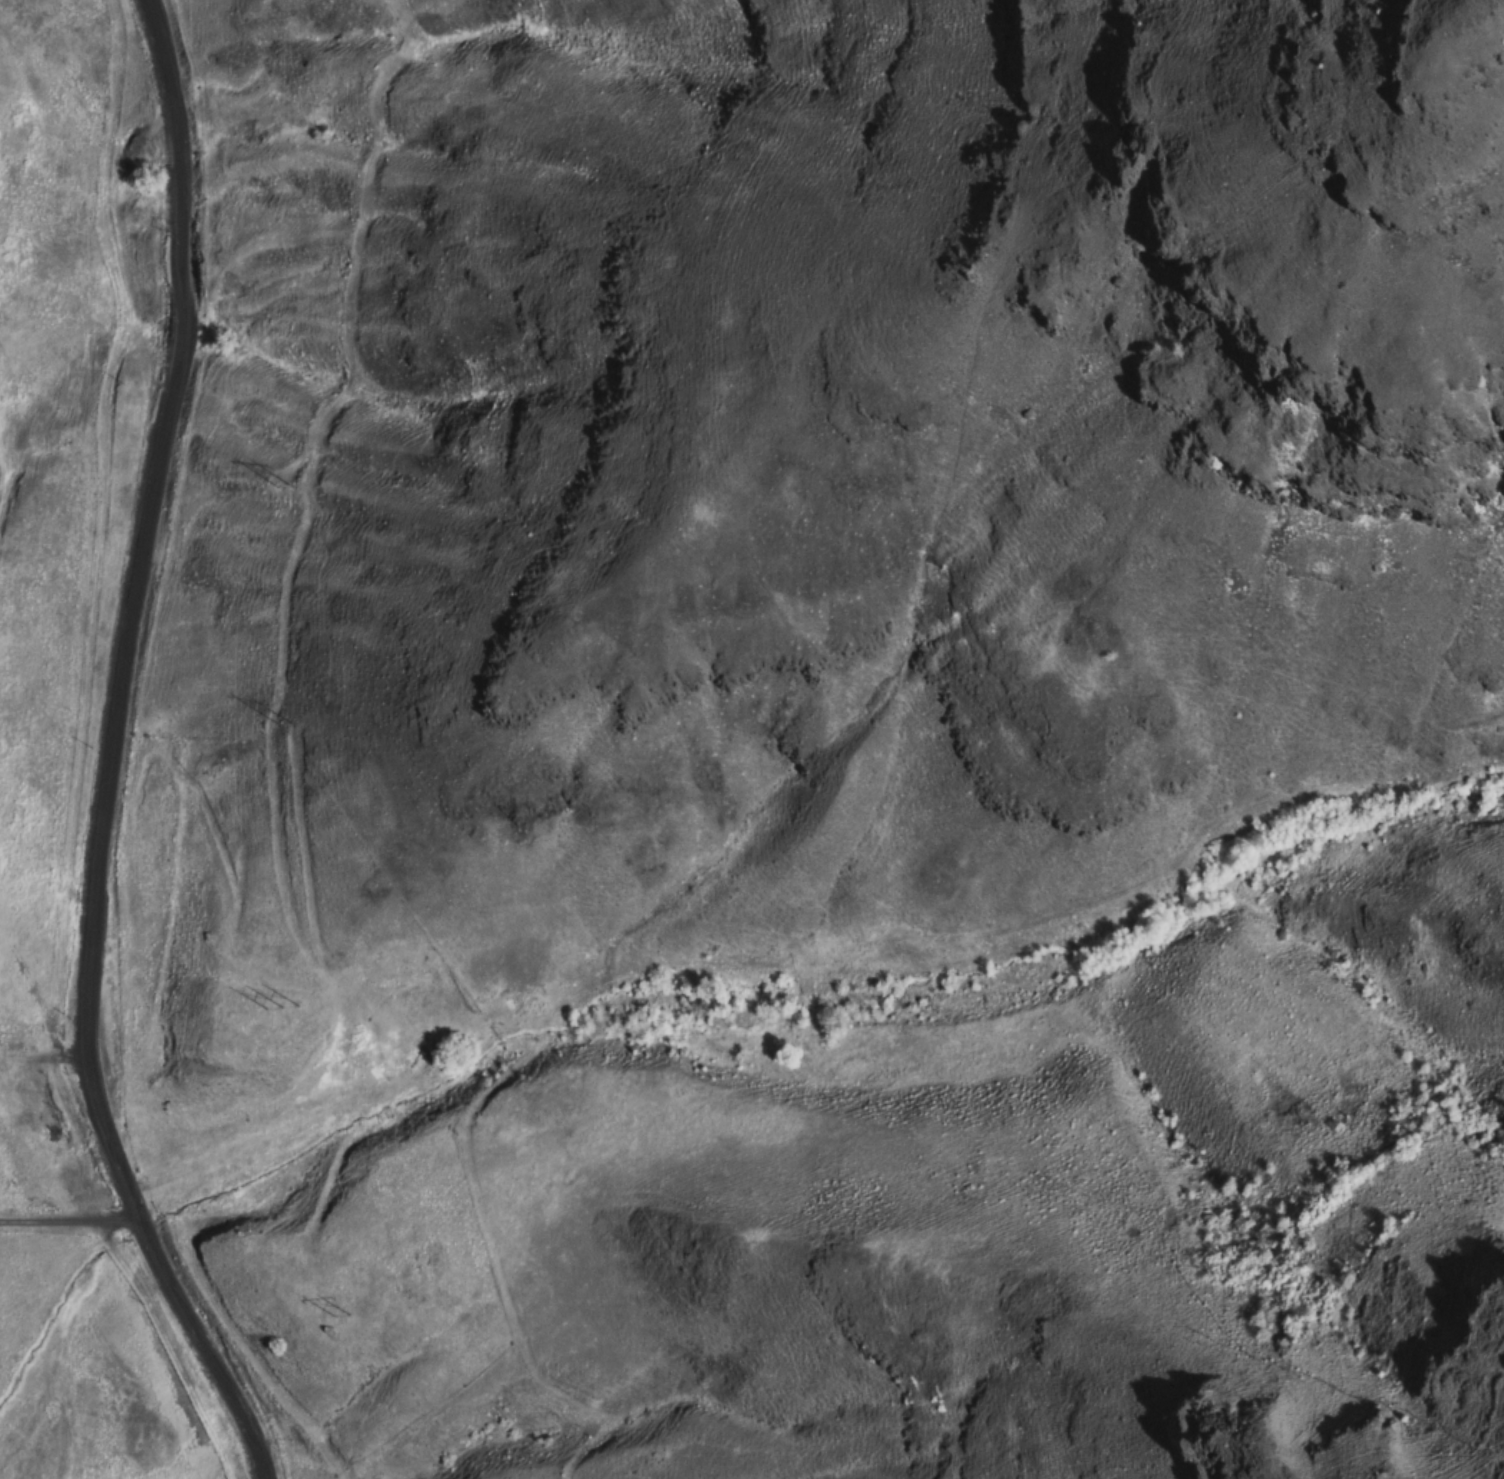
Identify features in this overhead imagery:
power tower: (277, 486)
power tower: (277, 723)
road: (109, 754)
power tower: (279, 1008)
power tower: (333, 1315)

